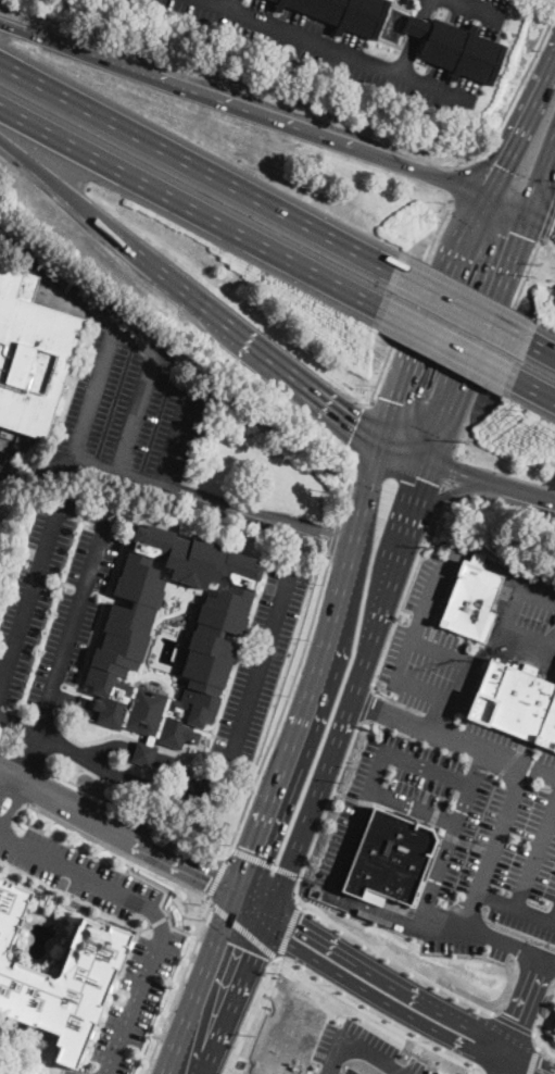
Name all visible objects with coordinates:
building: (405, 0)
parking lot: (548, 0)
road: (231, 4)
road: (478, 9)
building: (343, 13)
parking lot: (468, 13)
road: (414, 37)
building: (457, 49)
parking lot: (333, 50)
road: (337, 50)
road: (516, 89)
road: (264, 115)
road: (520, 128)
road: (197, 162)
traffic signals: (502, 165)
road: (476, 168)
road: (48, 176)
road: (459, 177)
road: (541, 177)
road: (188, 211)
road: (542, 215)
road: (547, 218)
traffic signals: (554, 222)
traffic signals: (518, 234)
building: (0, 247)
road: (75, 296)
road: (409, 298)
road: (464, 301)
road: (431, 319)
road: (235, 334)
road: (475, 337)
road: (544, 345)
road: (446, 346)
road: (495, 347)
building: (30, 351)
road: (537, 389)
road: (89, 391)
traffic signals: (399, 402)
parking lot: (129, 404)
road: (130, 413)
traffic signals: (354, 427)
road: (360, 432)
road: (171, 437)
road: (76, 462)
road: (437, 469)
traffic signals: (420, 476)
road: (451, 478)
road: (348, 491)
road: (525, 495)
road: (203, 500)
parking lot: (0, 505)
road: (432, 507)
road: (302, 528)
road: (333, 537)
road: (351, 544)
building: (480, 572)
road: (406, 583)
road: (28, 592)
road: (538, 596)
road: (77, 602)
parking lot: (52, 605)
road: (422, 605)
road: (379, 607)
building: (468, 607)
road: (408, 614)
building: (181, 616)
road: (509, 617)
building: (212, 646)
road: (489, 649)
road: (441, 650)
parking lot: (261, 653)
building: (487, 690)
building: (519, 702)
road: (365, 705)
road: (282, 707)
road: (440, 716)
road: (406, 721)
road: (18, 723)
building: (547, 726)
road: (8, 749)
road: (141, 752)
road: (508, 758)
road: (29, 760)
road: (225, 763)
road: (429, 769)
road: (20, 772)
parking lot: (461, 775)
road: (275, 785)
road: (13, 794)
road: (349, 797)
road: (413, 809)
road: (325, 810)
road: (135, 812)
road: (108, 823)
road: (357, 823)
road: (453, 836)
road: (294, 846)
road: (491, 846)
traffic signals: (253, 849)
road: (119, 850)
road: (538, 852)
building: (389, 856)
road: (264, 861)
traffic signals: (212, 873)
road: (217, 875)
road: (247, 883)
road: (163, 886)
road: (238, 900)
road: (514, 902)
road: (300, 903)
road: (154, 913)
road: (159, 920)
road: (129, 923)
traffic signals: (299, 924)
road: (143, 925)
road: (437, 925)
road: (242, 932)
road: (288, 932)
road: (193, 935)
traffic signals: (234, 944)
parking lot: (152, 954)
road: (551, 958)
road: (395, 960)
building: (60, 977)
road: (389, 981)
road: (177, 988)
road: (380, 998)
road: (210, 1001)
road: (526, 1004)
road: (250, 1015)
road: (377, 1017)
road: (514, 1023)
building: (554, 1027)
road: (544, 1042)
road: (539, 1045)
road: (360, 1049)
road: (532, 1061)
road: (506, 1064)
road: (529, 1065)

